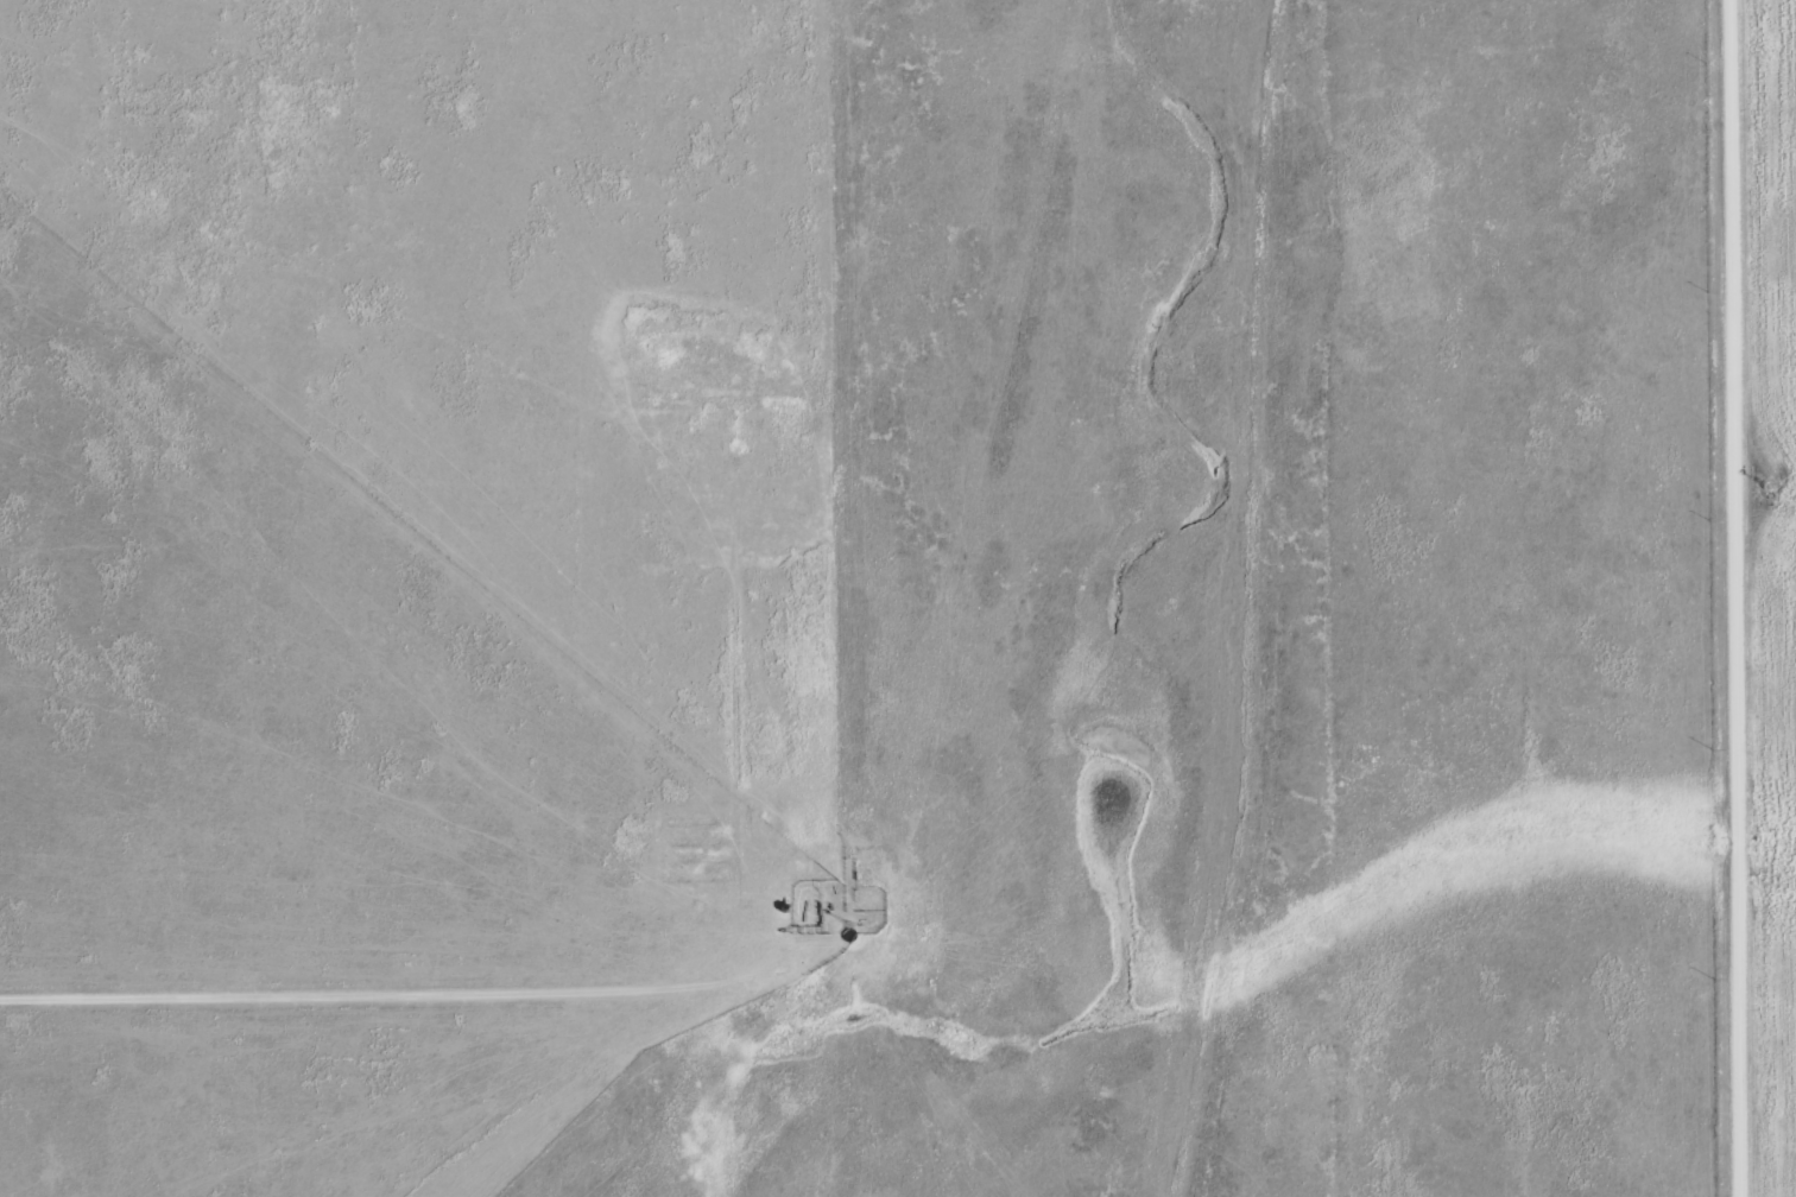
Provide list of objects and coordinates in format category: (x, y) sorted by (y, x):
road: (1740, 598)
road: (1769, 647)

